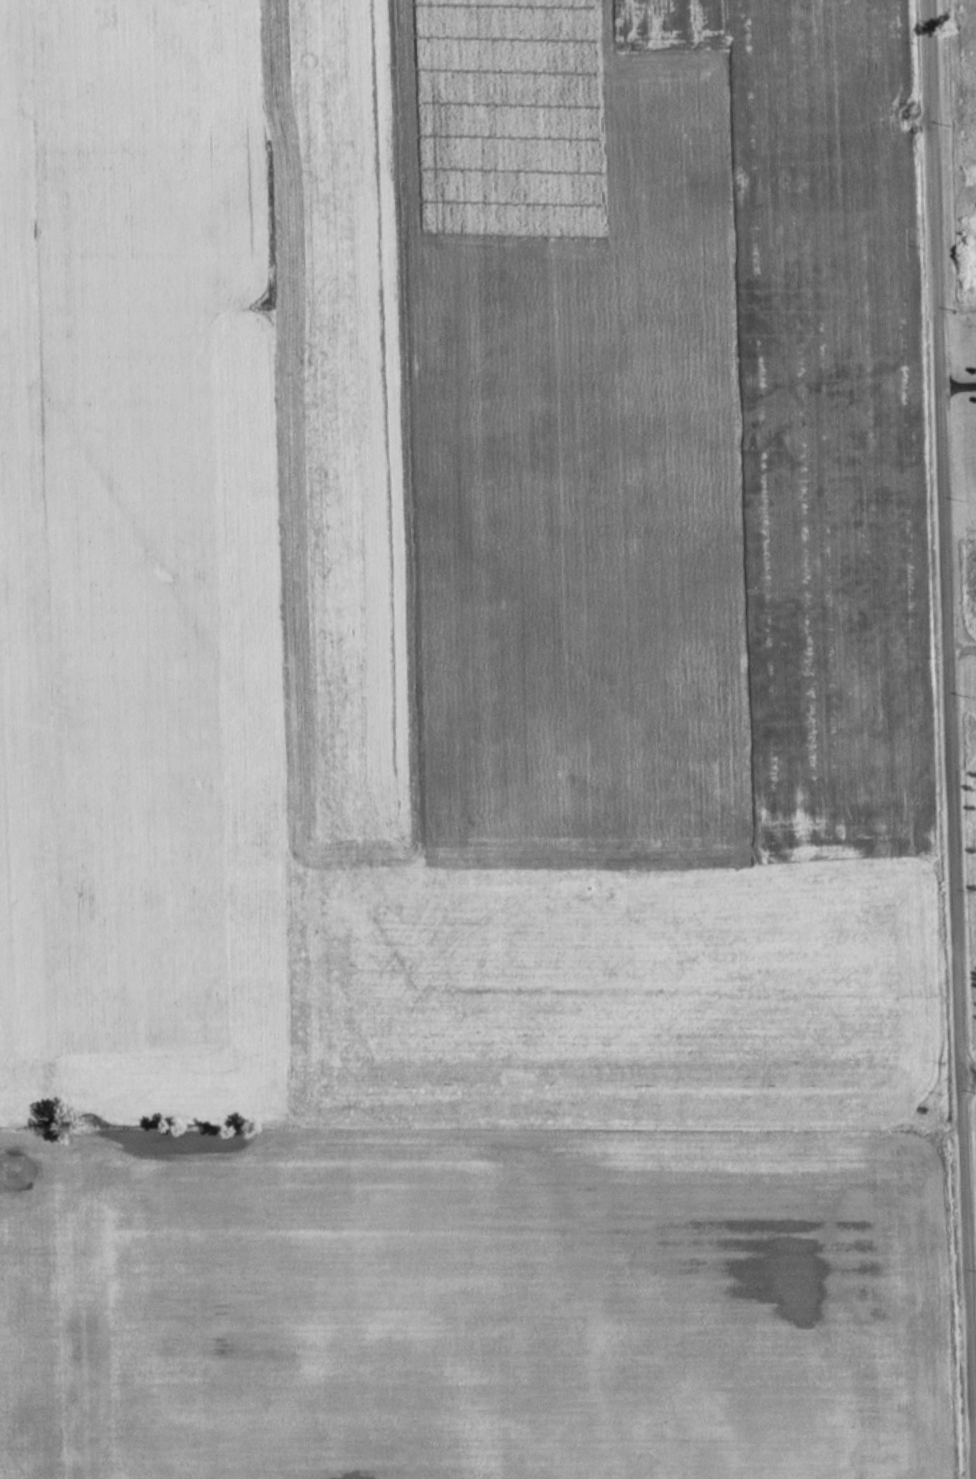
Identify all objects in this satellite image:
road: (956, 386)
crop: (445, 601)
road: (949, 718)
road: (970, 1073)
crop: (499, 1303)

